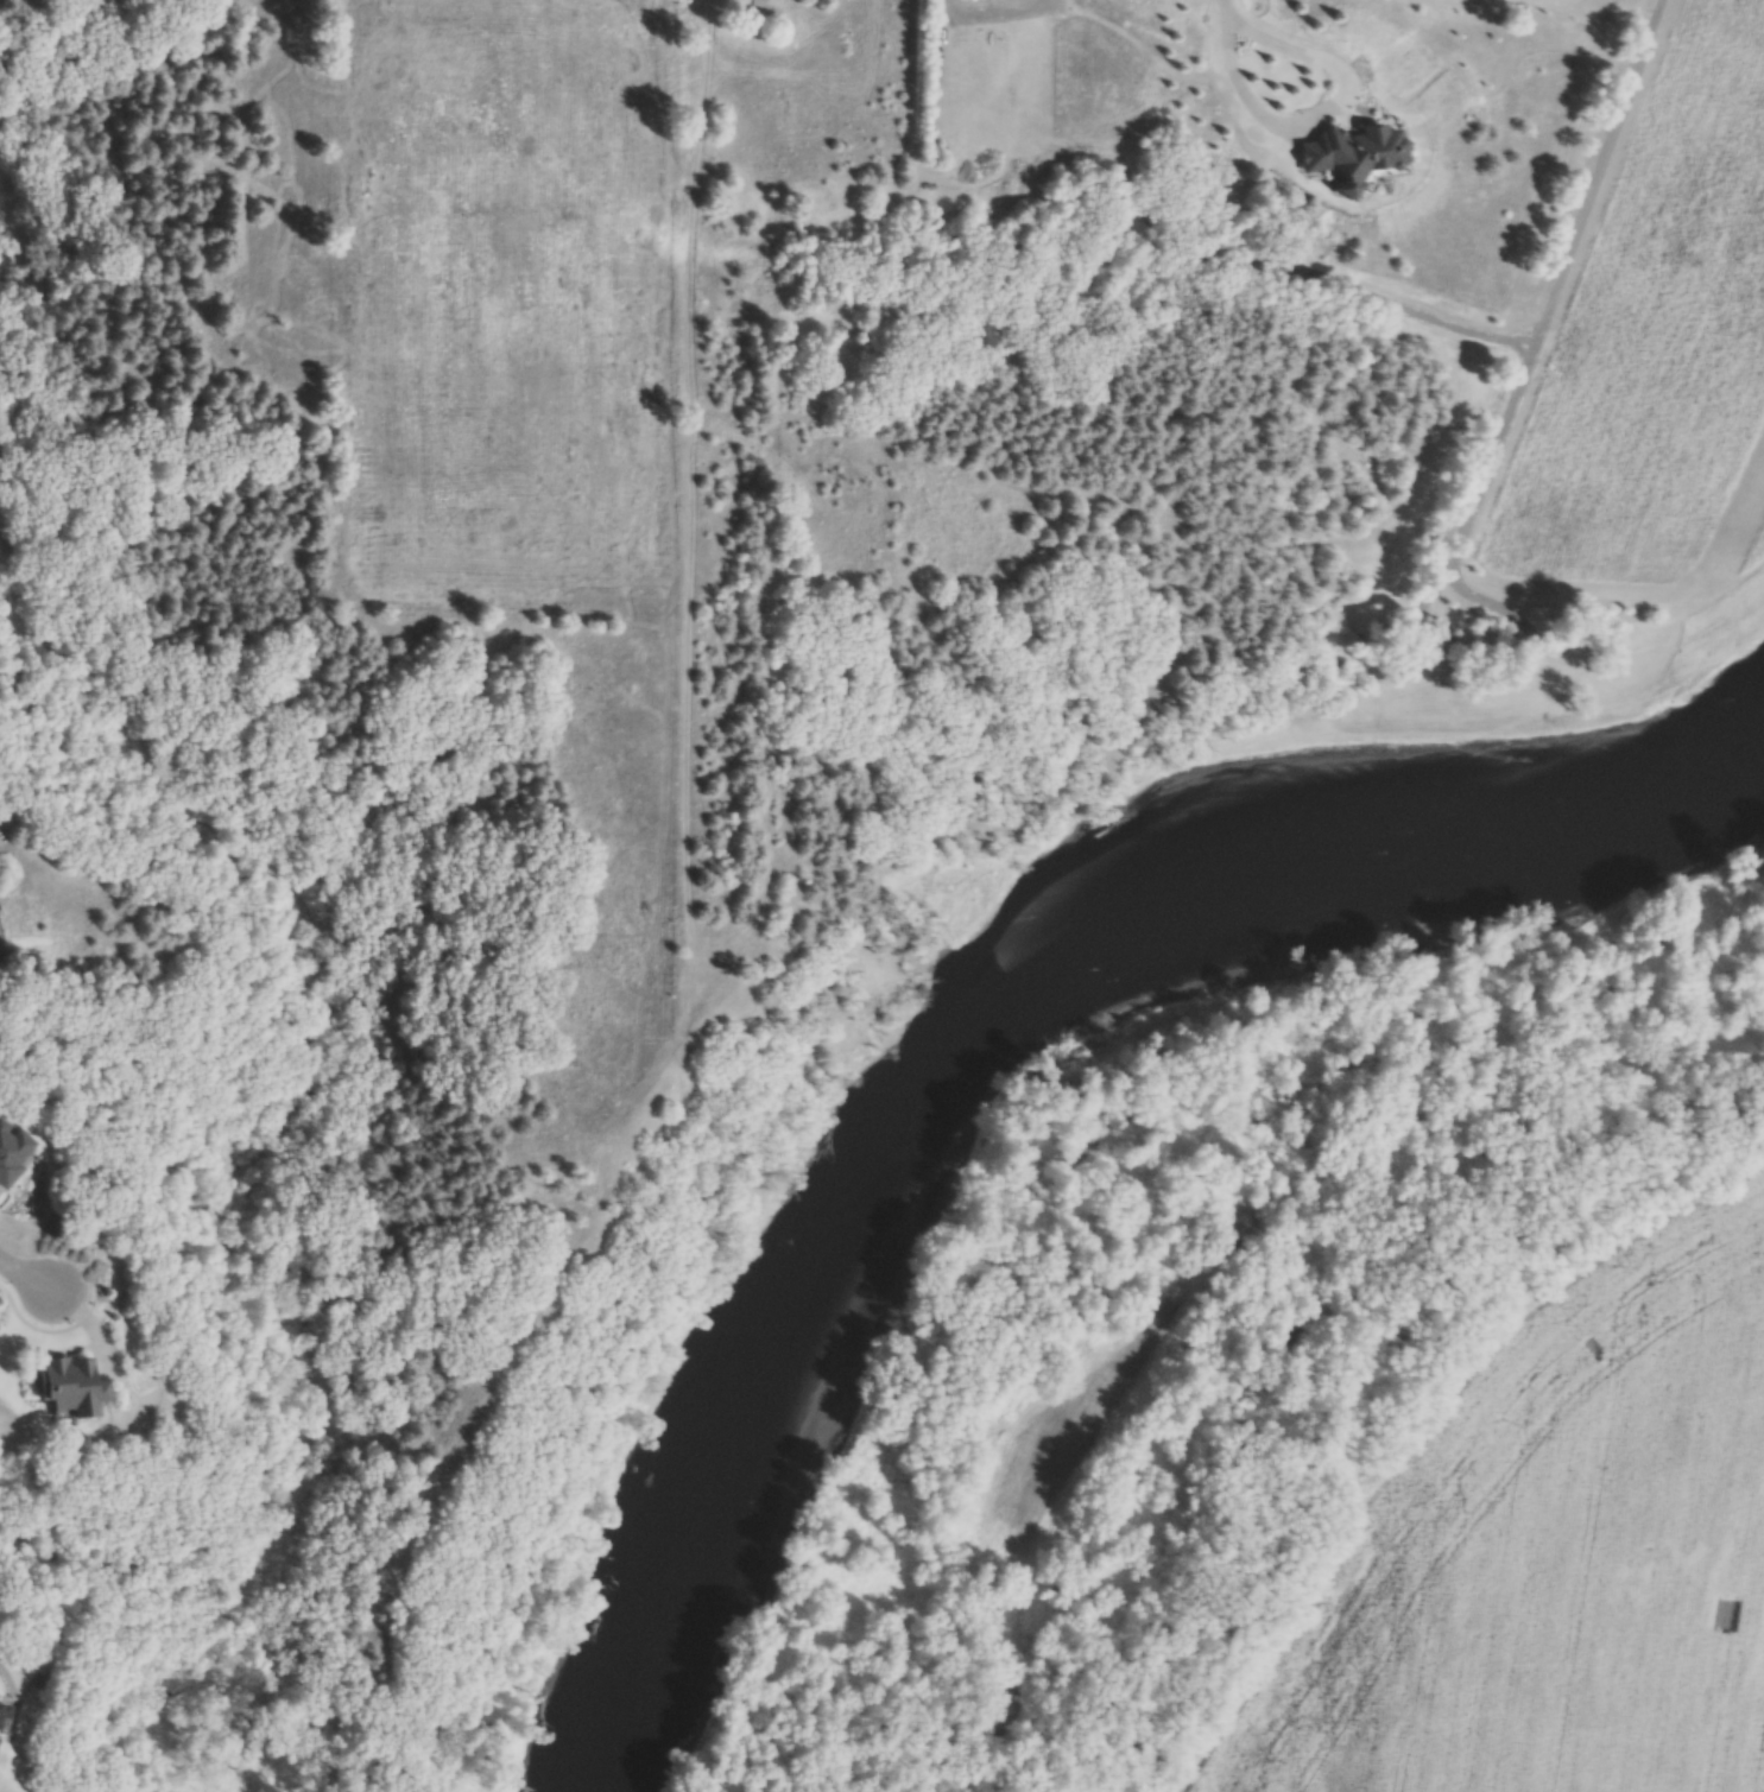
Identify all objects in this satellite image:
building: (761, 6)
road: (1224, 6)
road: (1322, 109)
river: (959, 1012)
building: (11, 1155)
road: (27, 1274)
building: (74, 1386)
building: (4, 1705)
building: (1, 1735)

